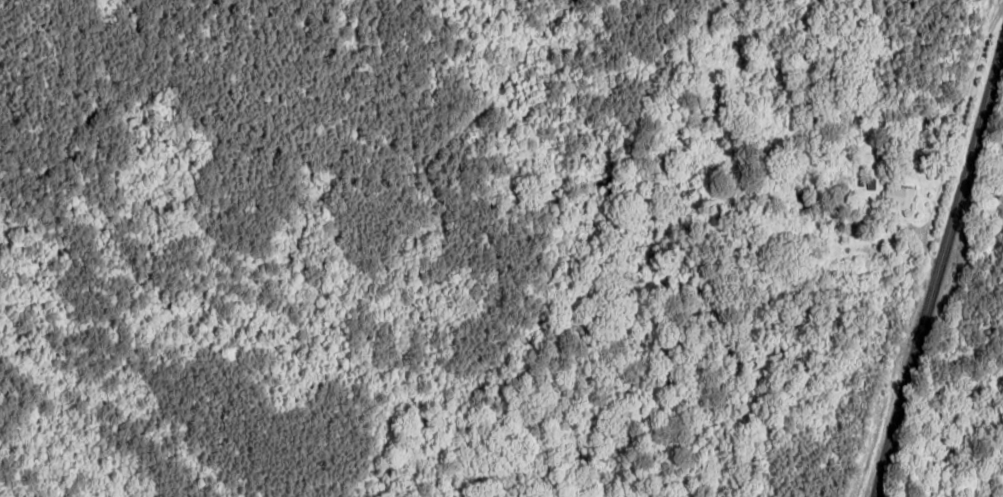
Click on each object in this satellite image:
building: (899, 196)
road: (945, 275)

